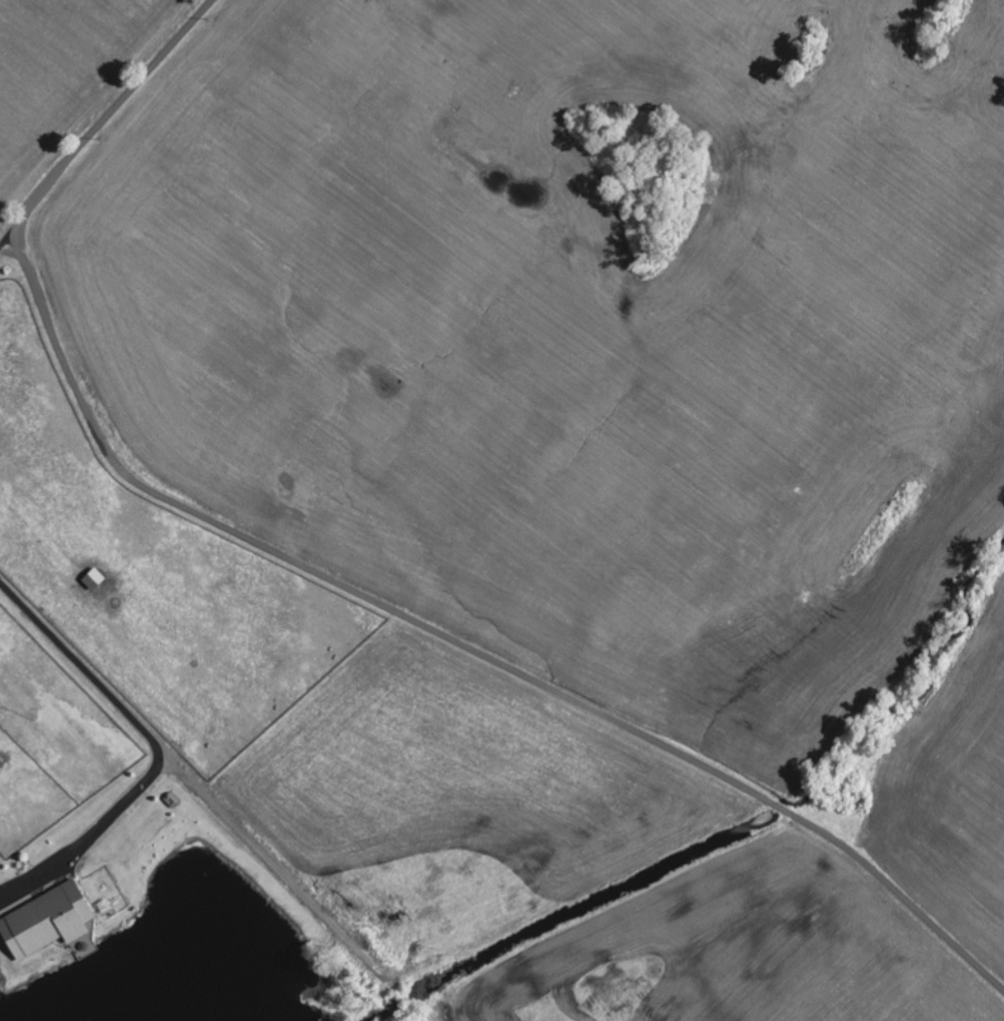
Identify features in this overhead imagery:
road: (102, 122)
road: (461, 648)
building: (47, 921)

